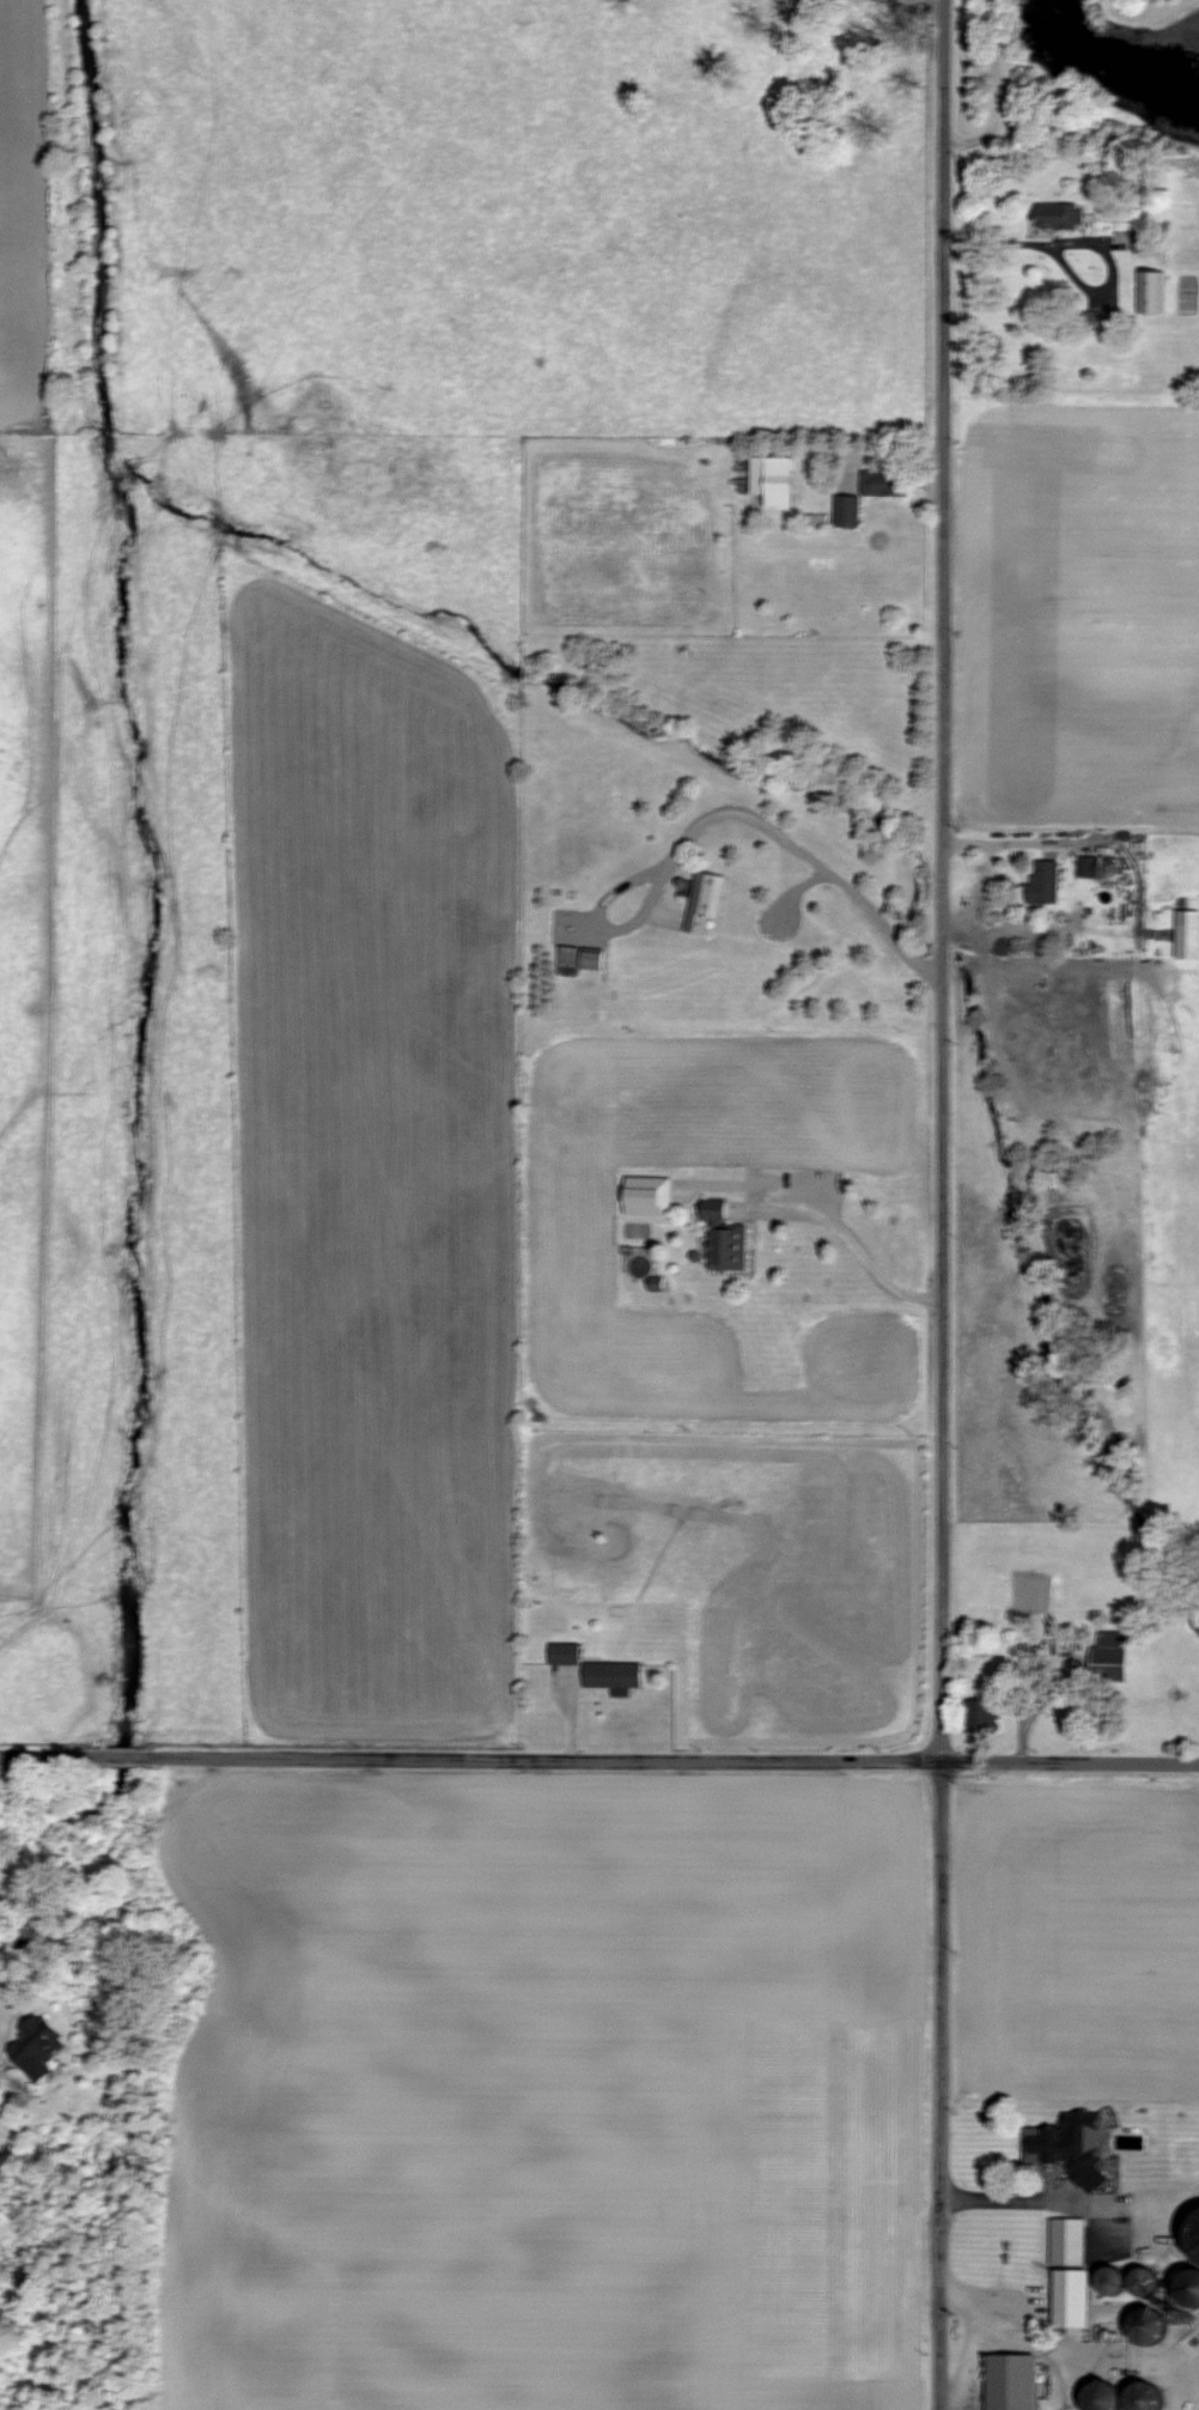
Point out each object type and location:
road: (994, 2)
road: (994, 8)
road: (998, 97)
building: (1057, 215)
road: (1089, 242)
building: (1151, 293)
building: (1102, 322)
building: (768, 481)
building: (883, 485)
building: (845, 511)
road: (720, 814)
road: (1010, 843)
building: (1042, 881)
building: (702, 900)
building: (1187, 941)
building: (577, 960)
road: (941, 1204)
building: (722, 1237)
road: (851, 1244)
building: (561, 1653)
building: (1108, 1657)
building: (609, 1675)
building: (979, 1718)
road: (599, 1758)
building: (34, 2047)
building: (1048, 2144)
building: (1185, 2155)
building: (1130, 2171)
road: (1069, 2203)
silo: (1193, 2233)
building: (1064, 2239)
silo: (1107, 2278)
building: (1106, 2280)
silo: (1143, 2280)
building: (1140, 2281)
silo: (1189, 2283)
building: (1187, 2285)
building: (1067, 2297)
silo: (1146, 2321)
building: (1144, 2324)
road: (1024, 2339)
road: (1125, 2357)
road: (969, 2361)
road: (1181, 2372)
building: (1010, 2381)
silo: (1098, 2396)
building: (1137, 2396)
building: (1098, 2397)
silo: (1144, 2397)

